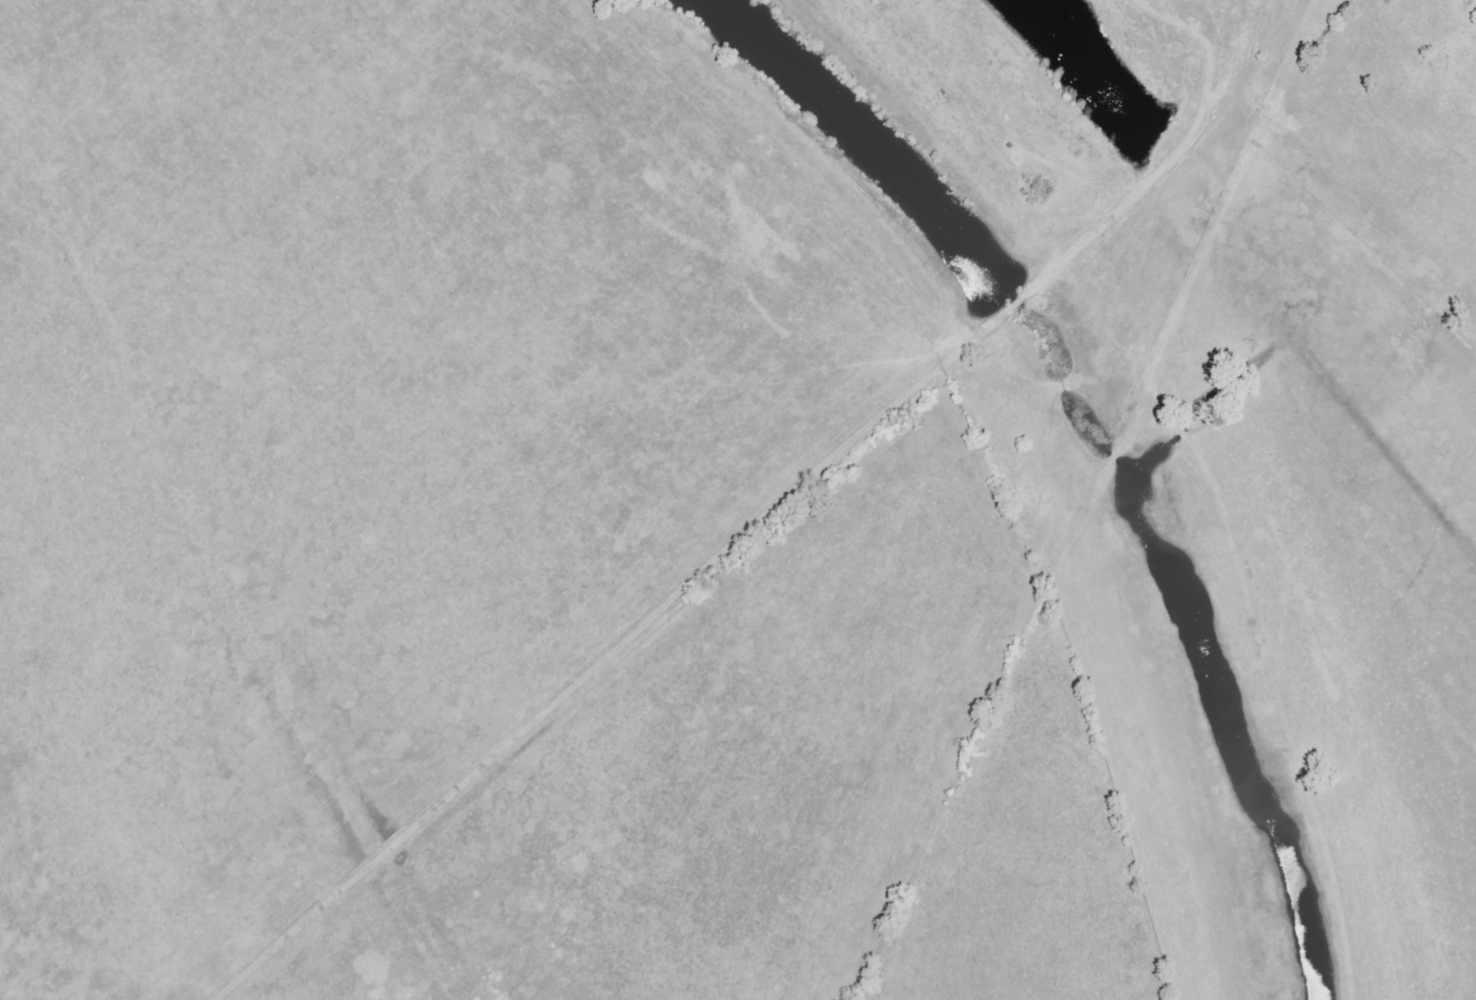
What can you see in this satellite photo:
road: (754, 519)

